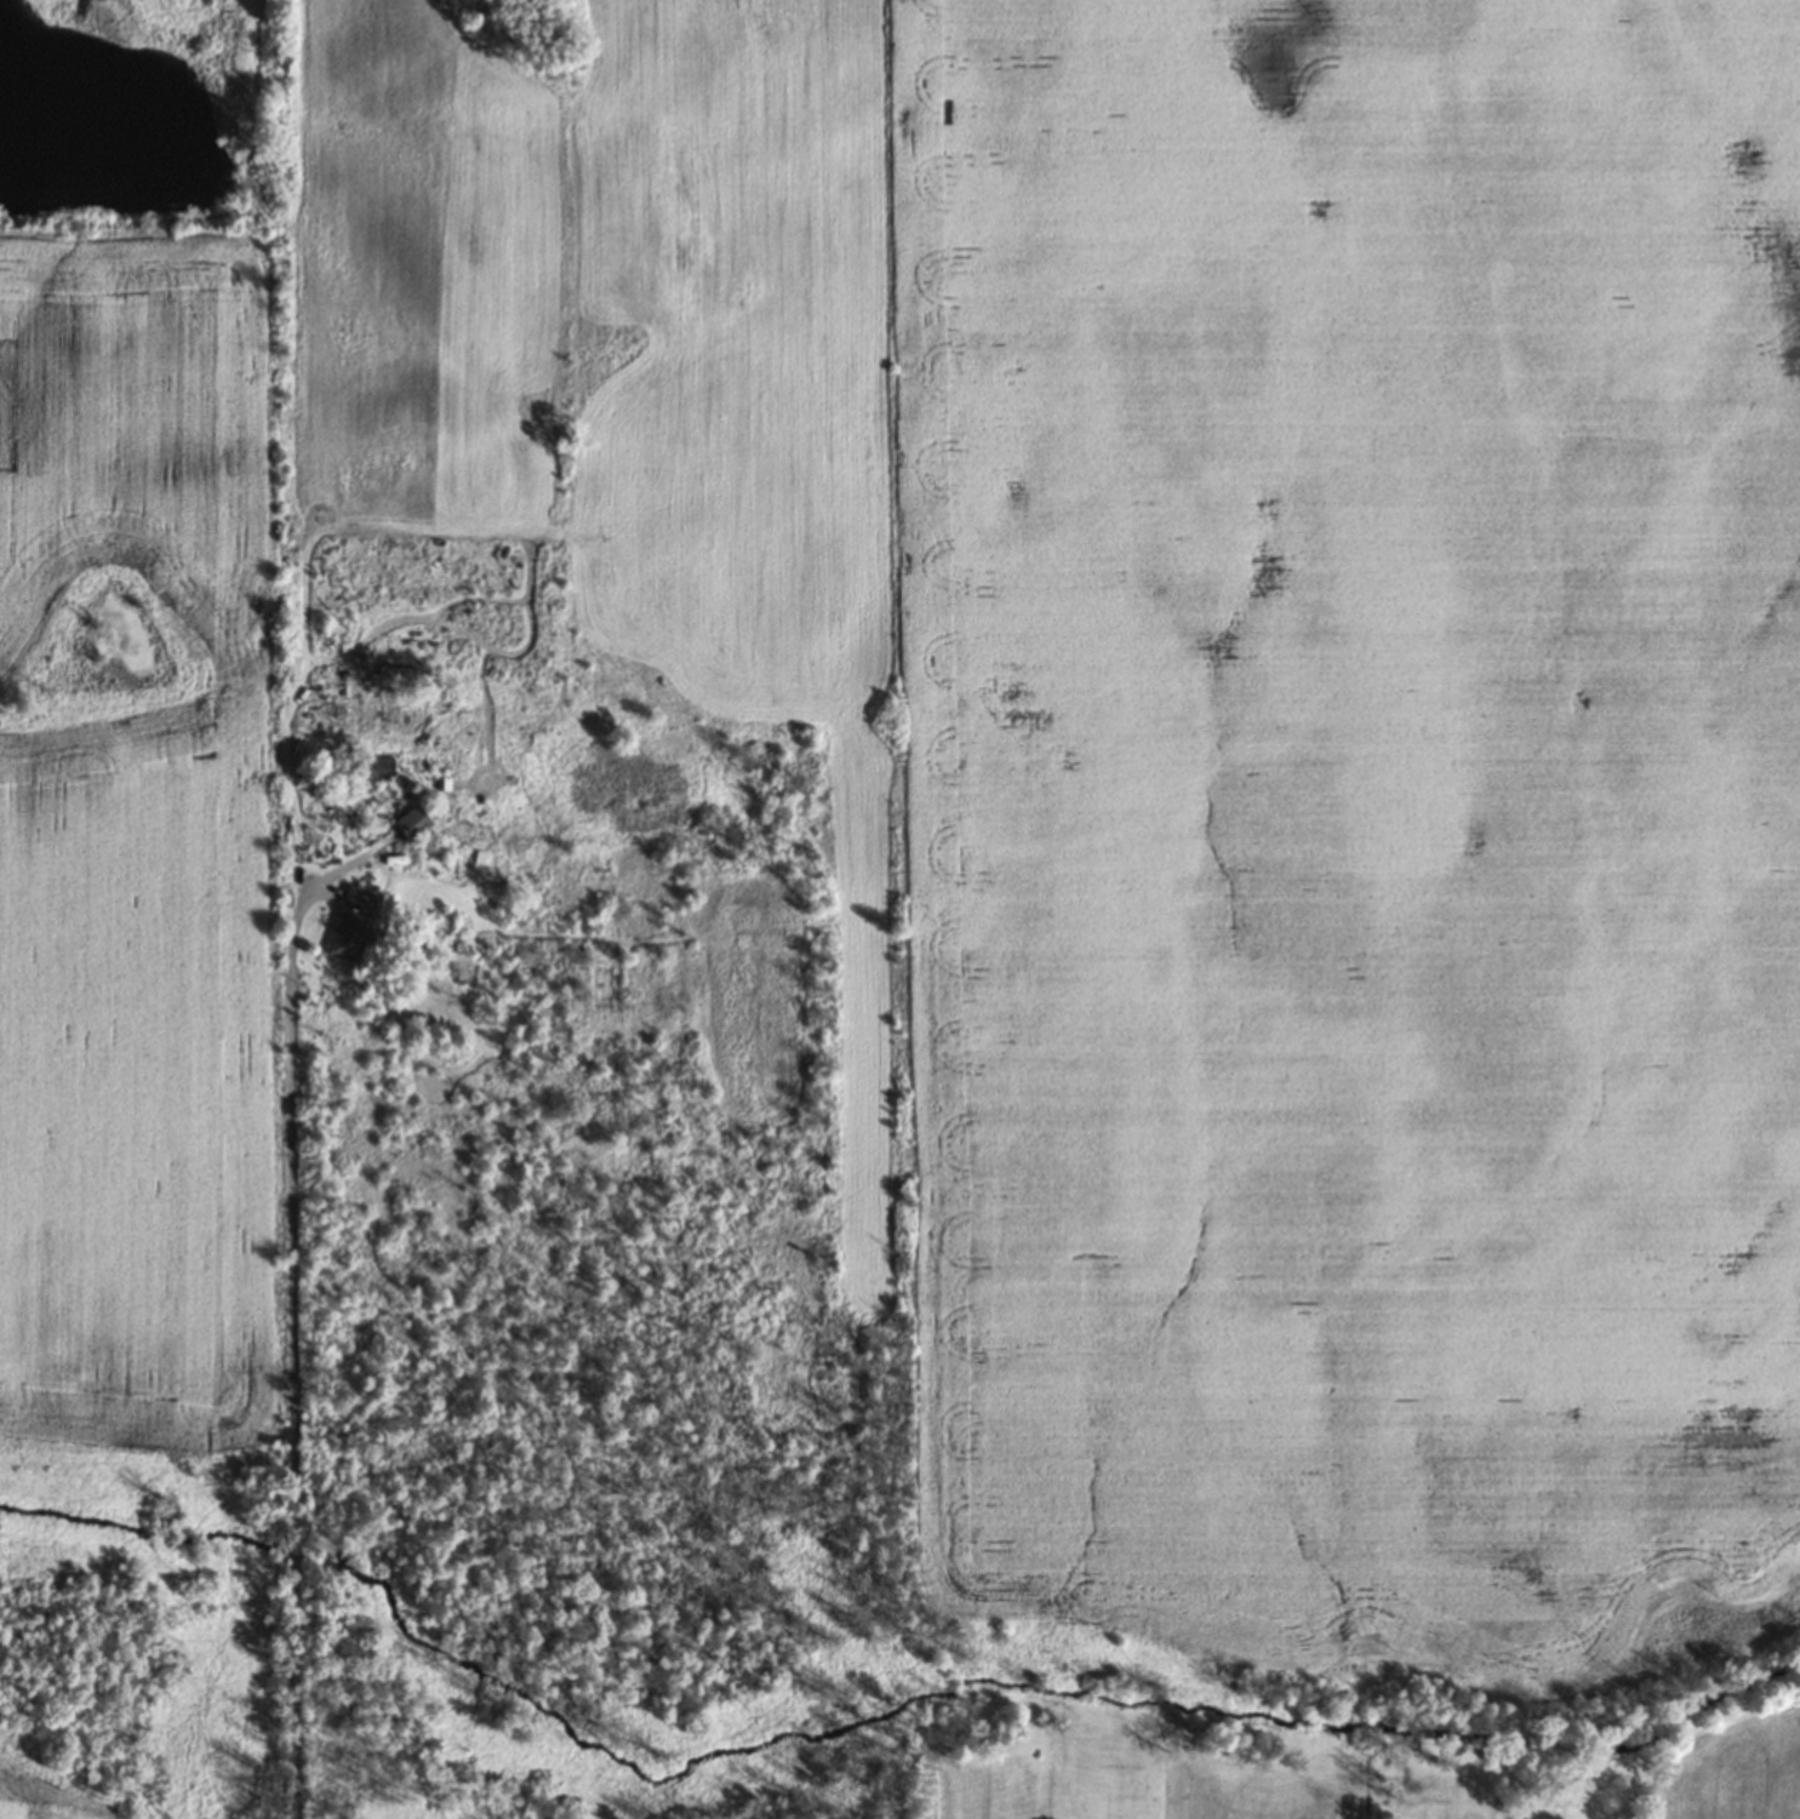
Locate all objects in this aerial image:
building: (411, 823)
building: (350, 925)
road: (291, 1344)

